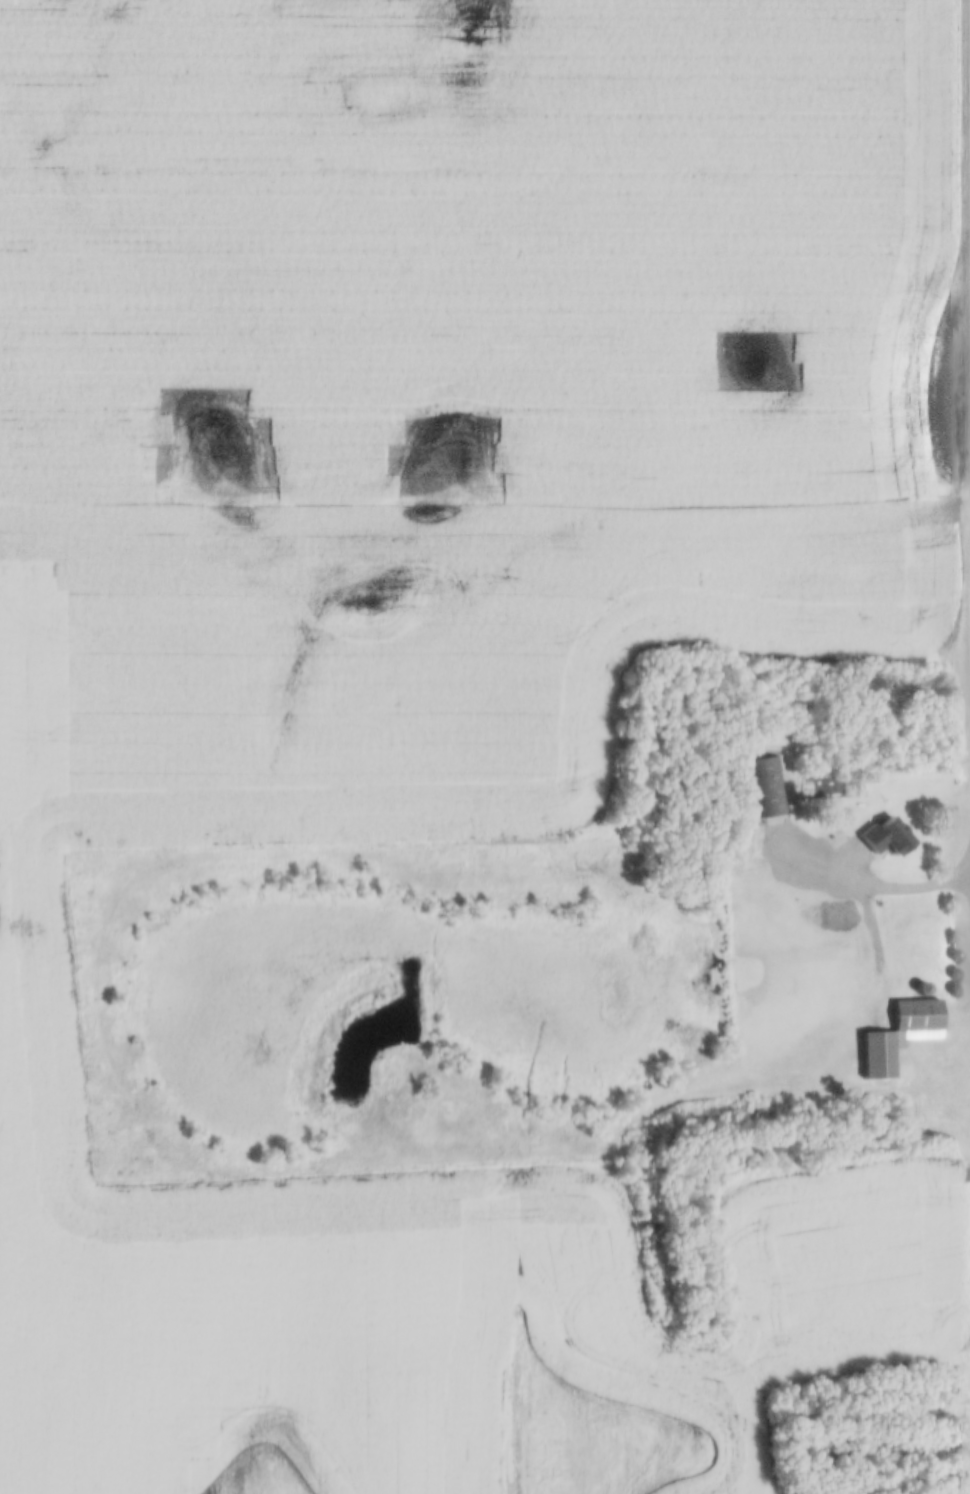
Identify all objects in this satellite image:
building: (765, 788)
building: (831, 847)
road: (969, 878)
road: (969, 880)
road: (879, 891)

